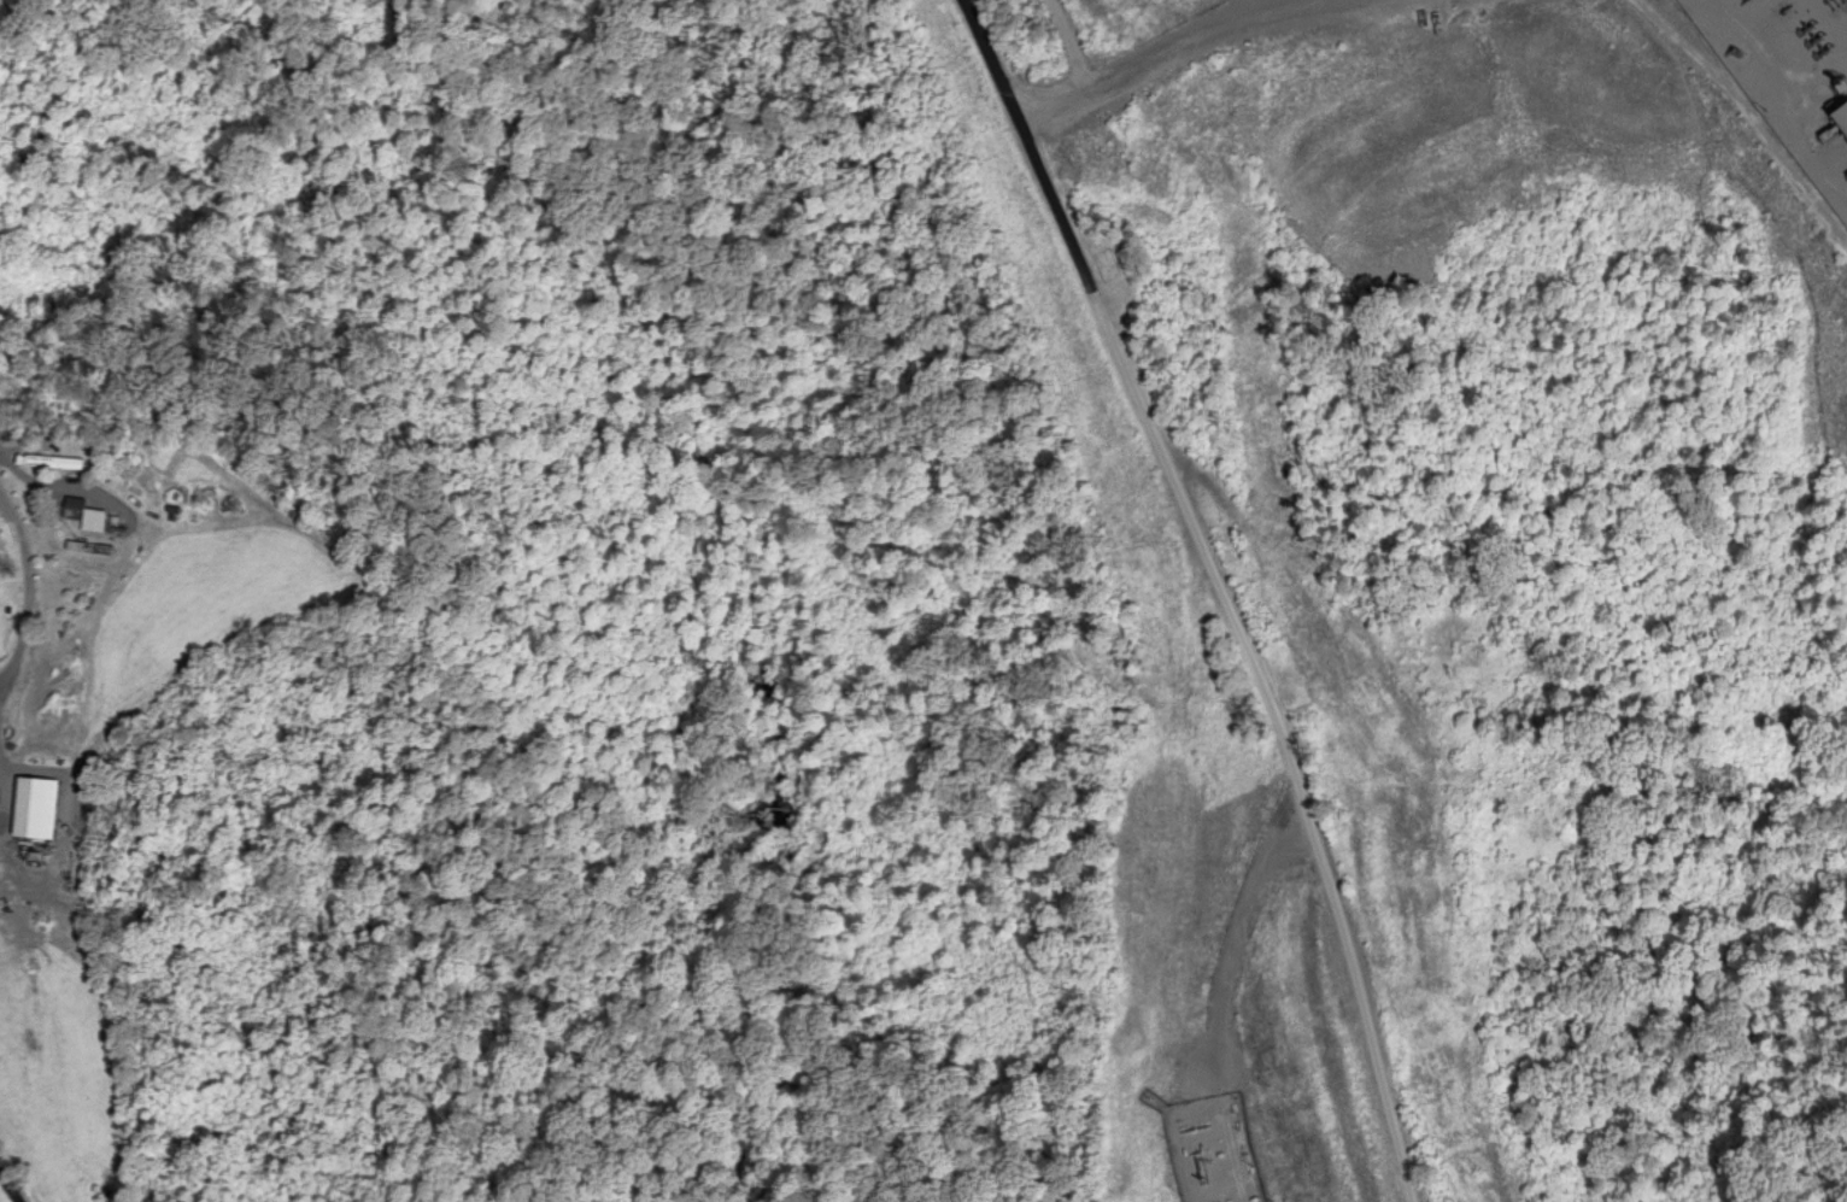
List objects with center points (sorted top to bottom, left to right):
road: (1276, 4)
road: (1065, 42)
road: (1188, 43)
building: (11, 434)
building: (53, 463)
building: (82, 516)
road: (1221, 588)
road: (8, 1188)

